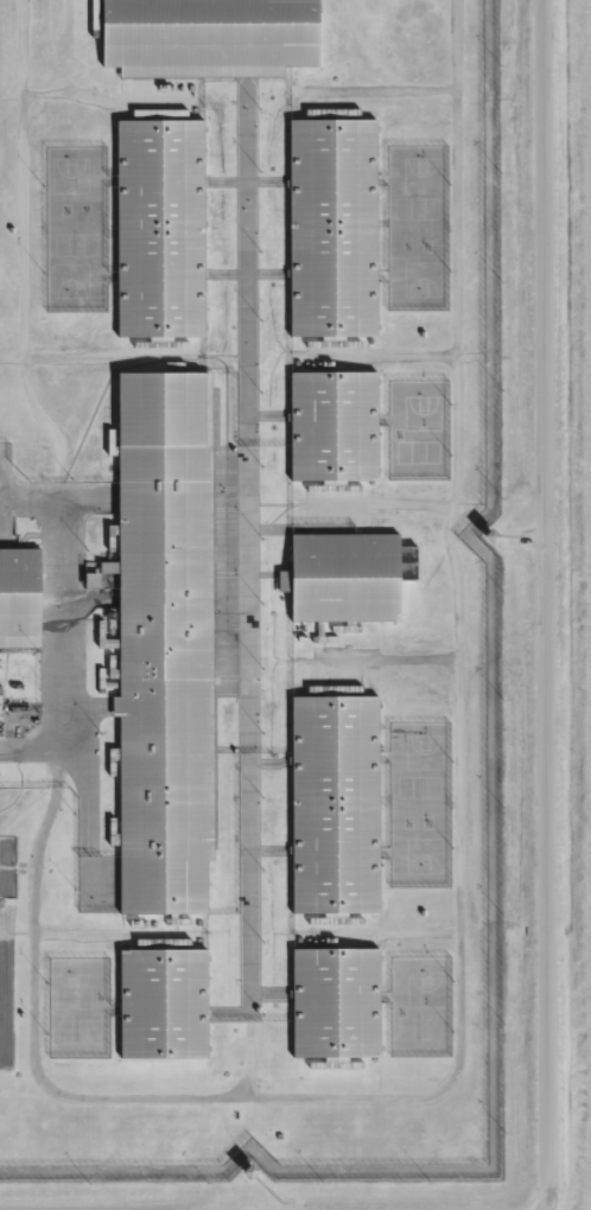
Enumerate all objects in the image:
building: (214, 36)
building: (337, 225)
building: (164, 227)
building: (337, 425)
building: (351, 575)
building: (88, 591)
building: (21, 597)
road: (552, 609)
building: (169, 639)
road: (56, 658)
building: (338, 803)
building: (339, 1001)
building: (166, 1002)
building: (241, 1179)

